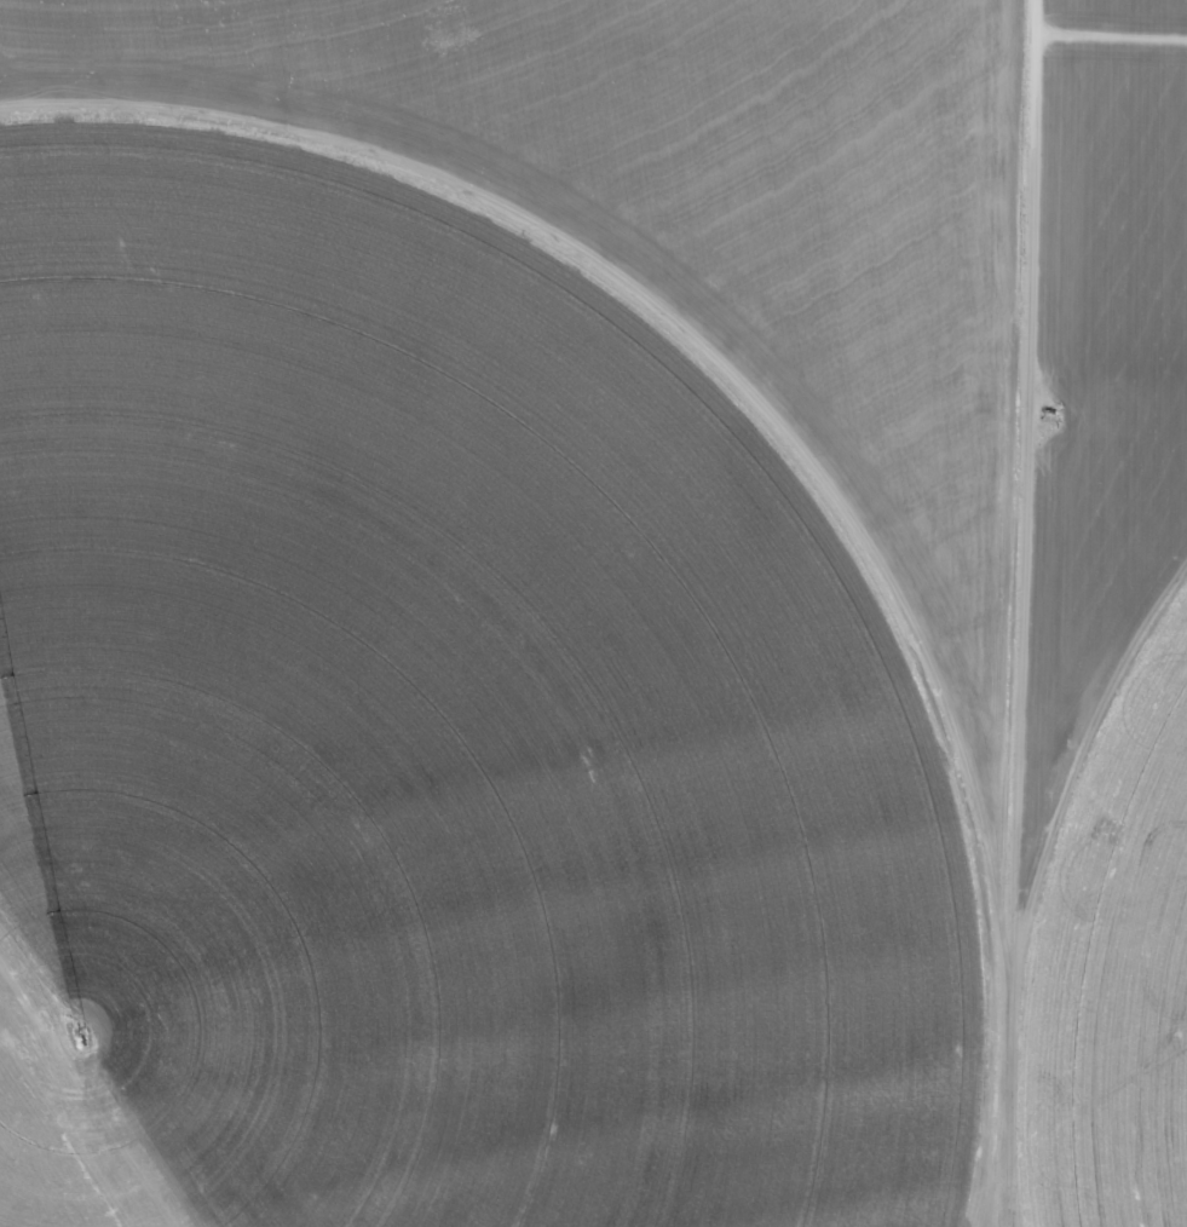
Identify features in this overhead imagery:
road: (998, 612)

